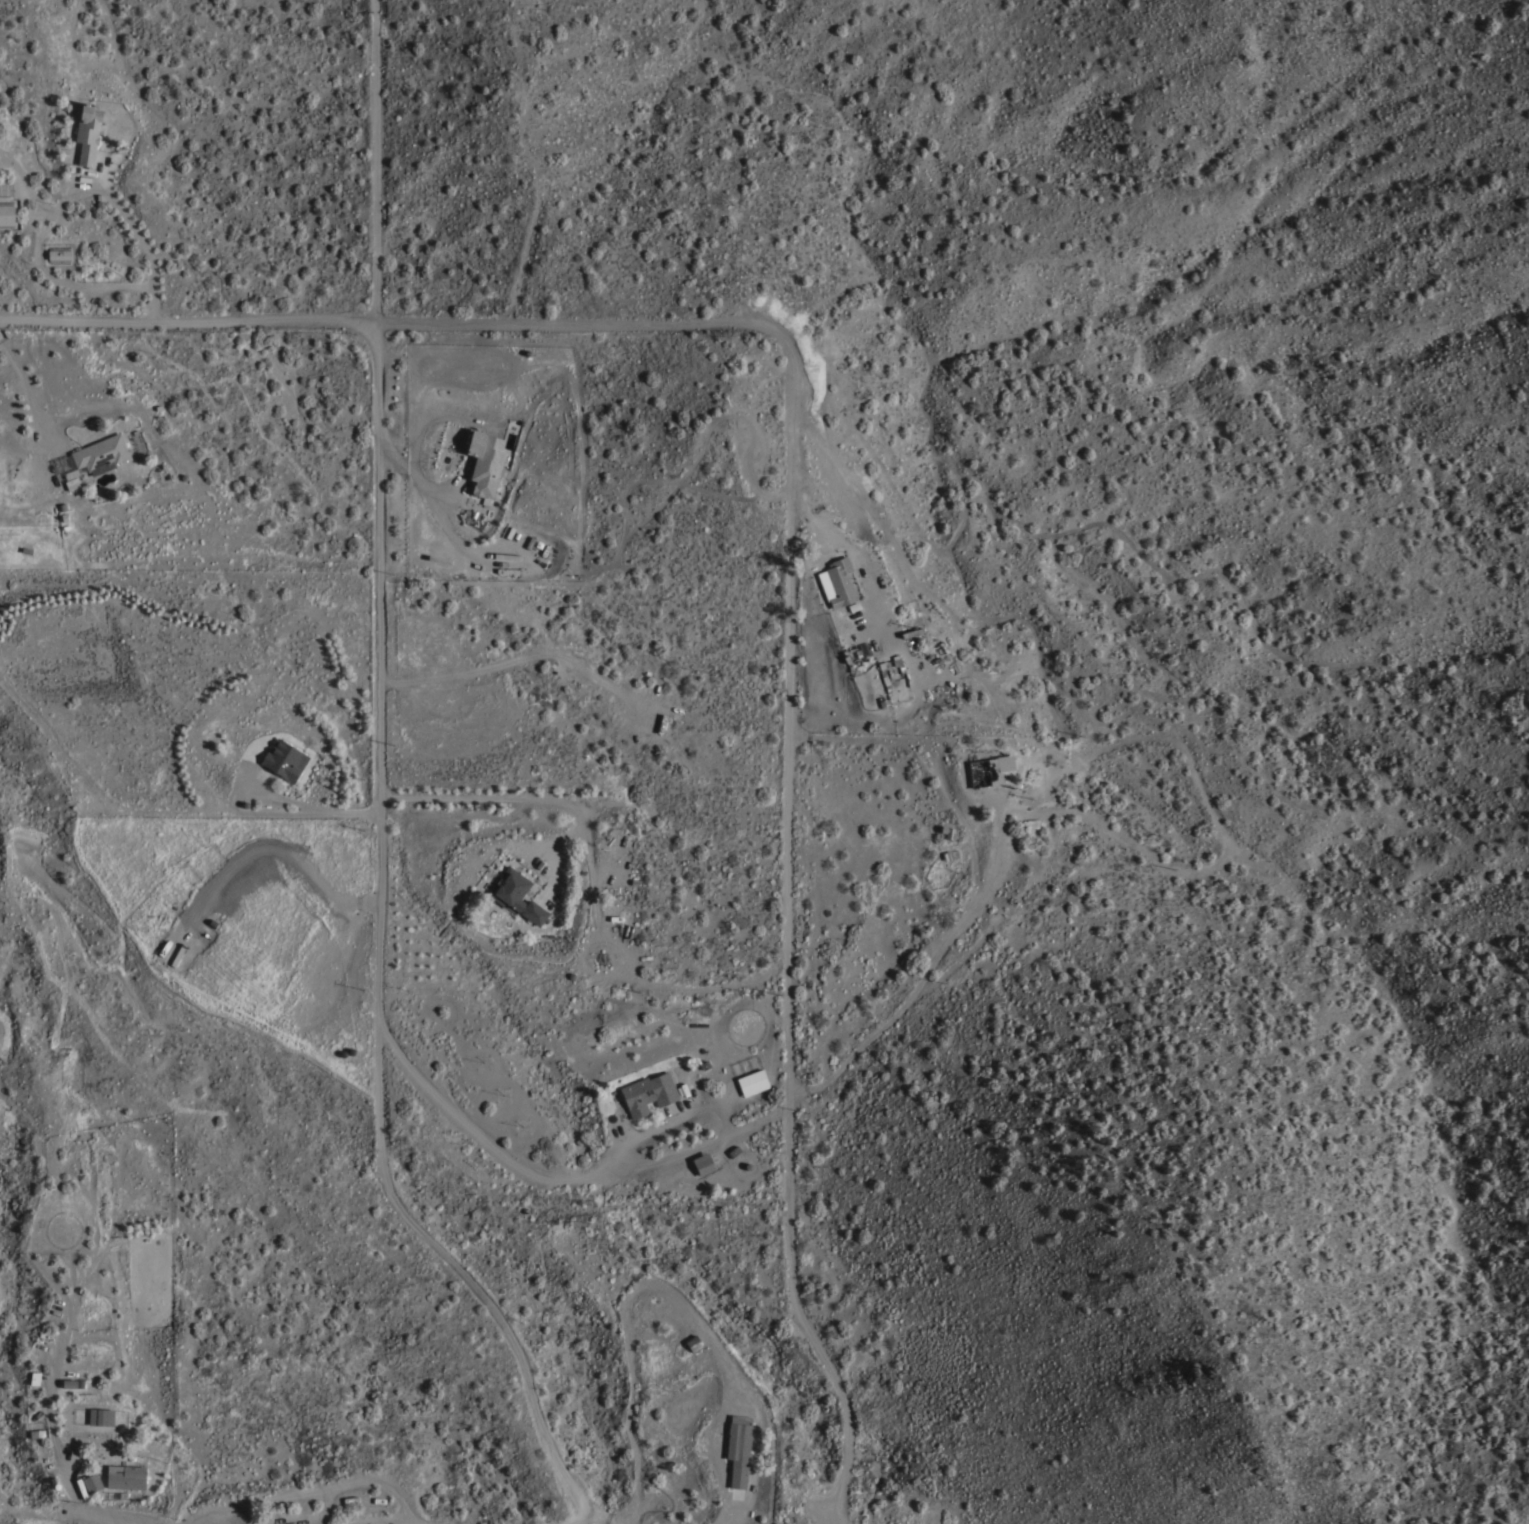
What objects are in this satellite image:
building: (87, 132)
road: (376, 160)
road: (44, 204)
building: (6, 213)
road: (143, 245)
building: (58, 253)
road: (26, 393)
building: (101, 453)
building: (485, 461)
building: (68, 473)
building: (62, 505)
road: (436, 512)
road: (790, 541)
building: (837, 582)
building: (911, 631)
road: (931, 756)
building: (284, 758)
building: (987, 769)
road: (510, 798)
road: (256, 813)
building: (947, 830)
building: (949, 854)
building: (516, 895)
road: (379, 962)
road: (3, 969)
road: (703, 985)
road: (1, 1034)
building: (752, 1081)
building: (647, 1092)
road: (3, 1100)
road: (744, 1127)
road: (665, 1290)
building: (693, 1342)
building: (34, 1379)
building: (69, 1382)
building: (100, 1415)
building: (738, 1447)
road: (61, 1463)
building: (125, 1475)
building: (92, 1482)
road: (314, 1491)
road: (47, 1514)
road: (314, 1517)
road: (580, 1519)
road: (382, 1520)
road: (389, 1522)
road: (204, 1523)

